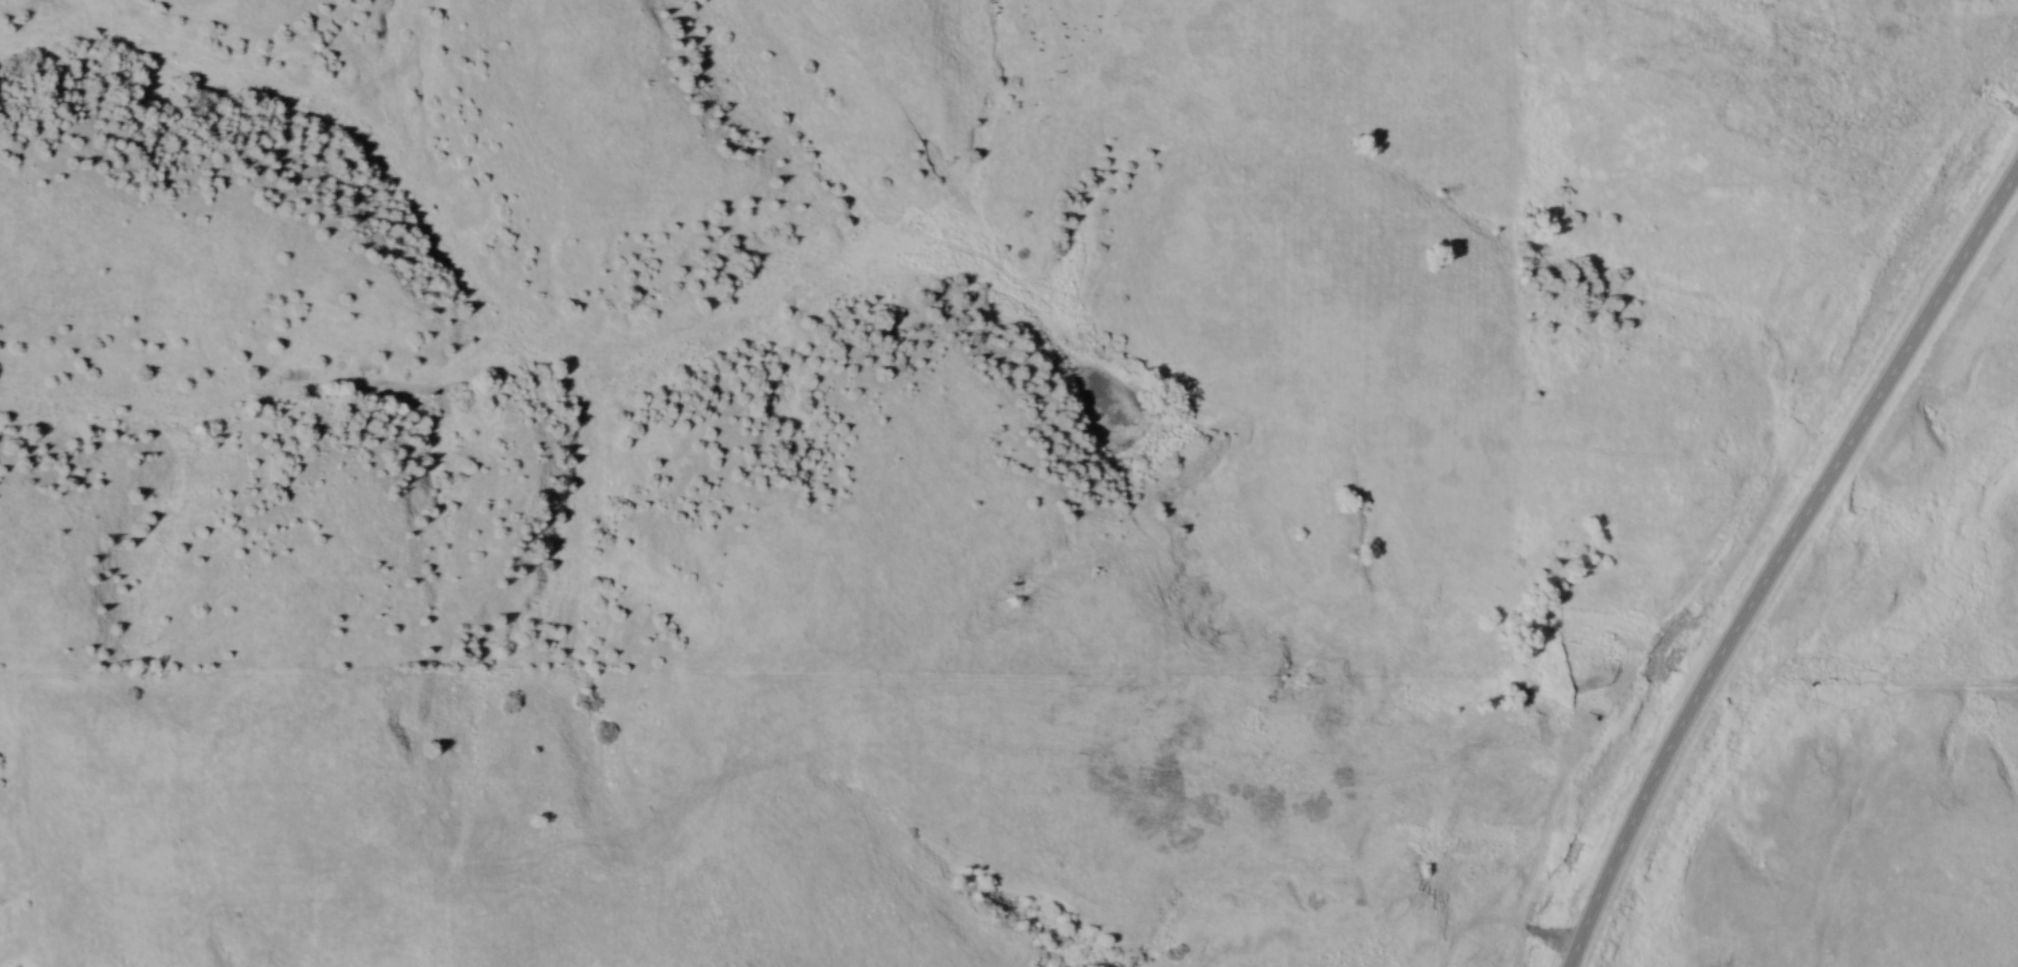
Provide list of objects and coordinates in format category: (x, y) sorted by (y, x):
road: (1778, 561)

